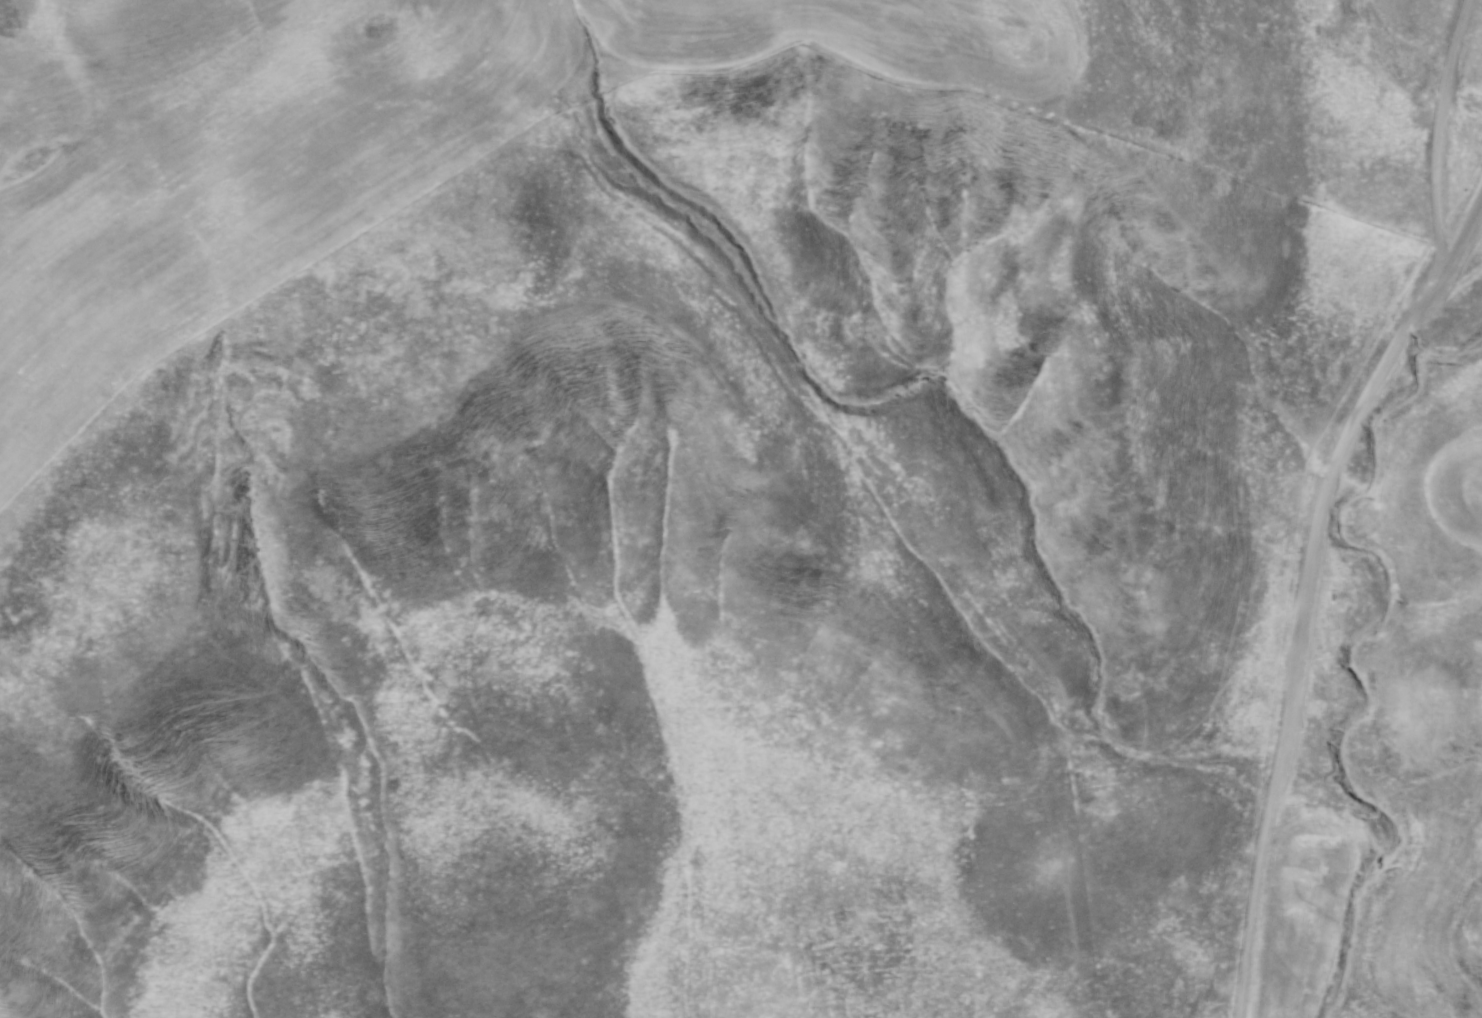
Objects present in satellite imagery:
road: (1440, 124)
road: (1307, 585)

